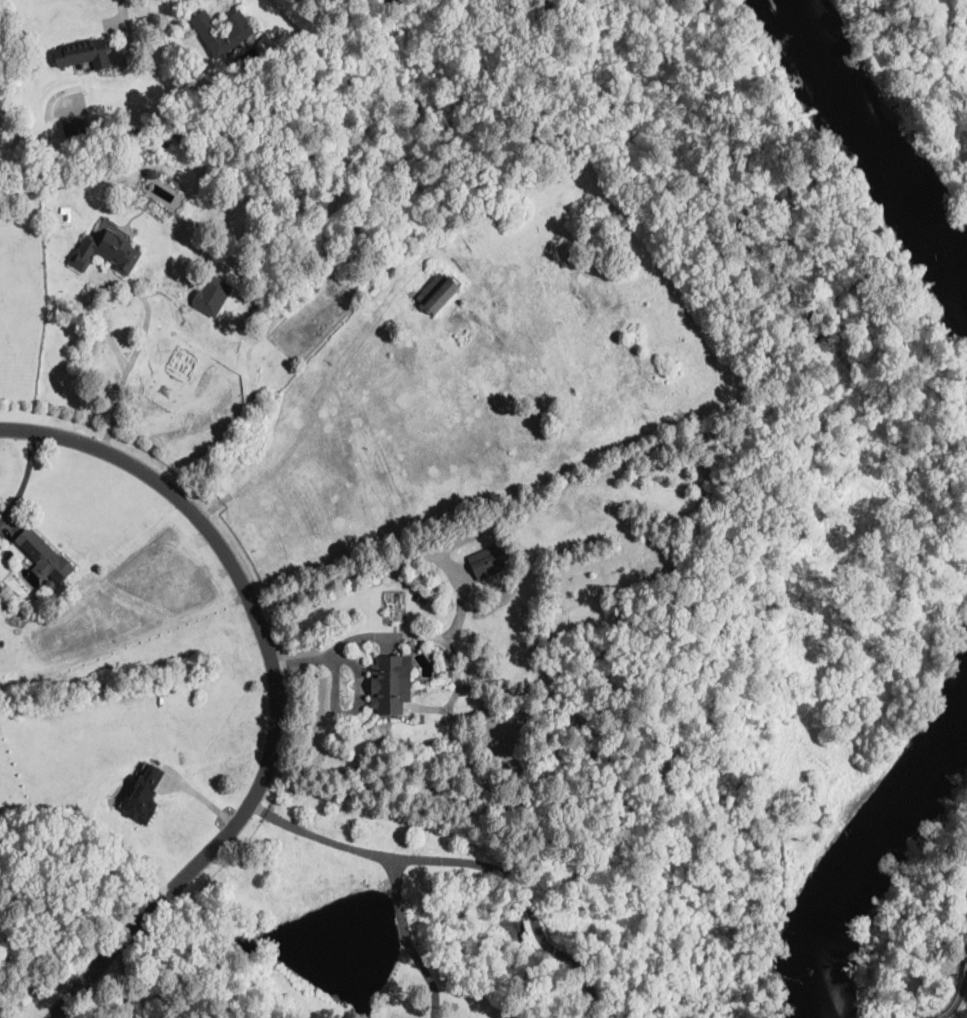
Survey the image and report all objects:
building: (399, 0)
park: (849, 1)
road: (222, 5)
road: (126, 26)
building: (237, 33)
building: (84, 53)
building: (76, 125)
river: (884, 138)
park: (951, 144)
building: (516, 179)
building: (107, 252)
building: (438, 293)
building: (212, 295)
building: (495, 304)
road: (146, 307)
road: (25, 479)
building: (44, 556)
building: (492, 561)
building: (50, 582)
building: (0, 589)
road: (420, 634)
building: (450, 673)
road: (360, 677)
building: (390, 685)
road: (278, 687)
building: (144, 792)
road: (318, 836)
river: (857, 846)
road: (523, 894)
park: (929, 930)
road: (409, 940)
road: (124, 982)
road: (958, 999)

